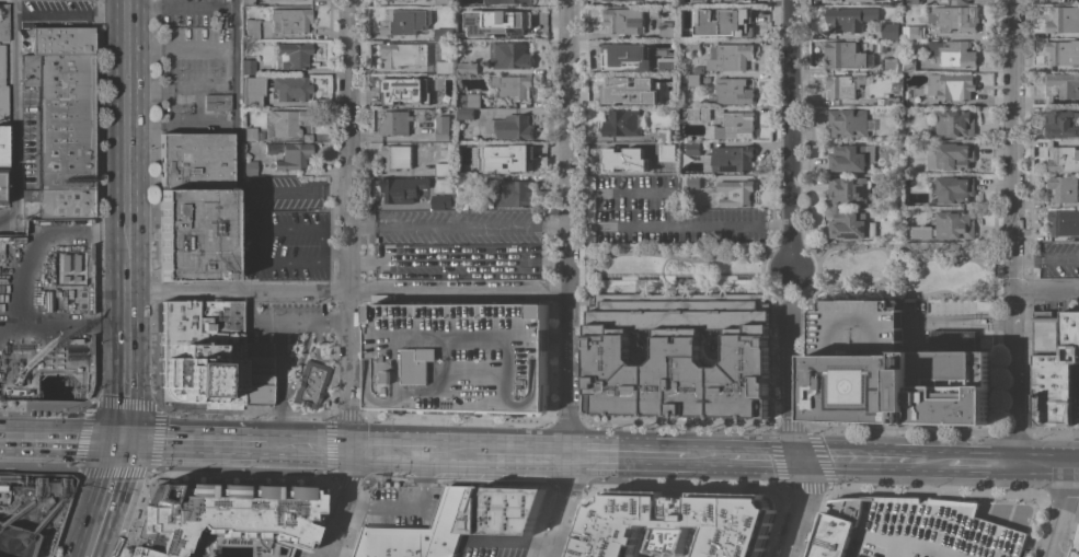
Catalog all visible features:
building: (2, 0)
building: (58, 0)
building: (297, 0)
building: (604, 0)
building: (697, 0)
building: (713, 0)
building: (744, 0)
building: (843, 0)
building: (872, 0)
building: (508, 1)
building: (914, 1)
building: (963, 1)
road: (234, 2)
building: (444, 2)
building: (666, 2)
building: (248, 3)
building: (695, 11)
building: (472, 12)
road: (70, 14)
building: (850, 18)
building: (955, 18)
building: (1064, 19)
building: (624, 20)
building: (290, 21)
building: (406, 21)
building: (4, 23)
building: (513, 24)
building: (732, 25)
building: (252, 30)
building: (668, 30)
building: (891, 30)
building: (912, 31)
building: (445, 33)
building: (61, 40)
building: (665, 45)
building: (689, 45)
building: (1064, 51)
building: (953, 53)
building: (405, 54)
building: (295, 55)
building: (513, 55)
building: (845, 55)
building: (624, 56)
building: (730, 56)
building: (667, 63)
building: (892, 63)
building: (2, 65)
building: (909, 65)
building: (249, 67)
building: (446, 67)
building: (468, 67)
road: (225, 68)
building: (699, 69)
building: (895, 77)
building: (693, 79)
building: (895, 83)
building: (514, 85)
building: (843, 85)
building: (952, 85)
building: (1063, 86)
building: (400, 88)
building: (292, 89)
building: (631, 90)
building: (735, 91)
building: (252, 92)
road: (236, 94)
building: (910, 97)
building: (440, 100)
building: (471, 100)
building: (893, 101)
building: (217, 103)
building: (3, 104)
building: (696, 113)
building: (467, 114)
building: (64, 119)
building: (395, 121)
building: (849, 121)
building: (290, 123)
building: (622, 123)
building: (954, 123)
building: (1063, 123)
building: (733, 125)
road: (182, 126)
building: (512, 126)
building: (444, 128)
road: (126, 131)
building: (250, 134)
building: (665, 135)
road: (790, 135)
road: (567, 144)
building: (3, 146)
building: (472, 146)
road: (347, 147)
building: (695, 148)
building: (667, 150)
building: (955, 154)
building: (290, 155)
building: (398, 155)
building: (622, 156)
building: (851, 156)
building: (733, 158)
building: (930, 158)
building: (1064, 158)
building: (510, 160)
building: (250, 167)
building: (443, 169)
building: (665, 169)
building: (479, 181)
building: (692, 182)
building: (2, 187)
building: (1064, 187)
building: (403, 188)
building: (955, 188)
road: (620, 189)
building: (850, 189)
road: (291, 190)
building: (737, 192)
building: (517, 194)
building: (443, 198)
road: (18, 199)
building: (64, 202)
building: (194, 208)
road: (9, 219)
building: (1064, 221)
road: (655, 222)
building: (852, 224)
road: (458, 225)
building: (949, 225)
road: (1011, 233)
road: (797, 237)
road: (321, 244)
building: (69, 270)
road: (789, 288)
road: (1045, 291)
road: (346, 292)
road: (960, 315)
road: (284, 321)
road: (124, 345)
building: (200, 355)
building: (460, 355)
building: (680, 355)
building: (1055, 365)
road: (348, 370)
road: (569, 372)
building: (256, 373)
building: (310, 384)
building: (903, 386)
helipad: (864, 388)
road: (61, 425)
traffic signals: (123, 426)
road: (187, 429)
road: (792, 433)
road: (285, 434)
road: (120, 440)
road: (334, 442)
traffic signals: (351, 448)
road: (412, 448)
road: (521, 452)
road: (59, 453)
traffic signals: (118, 454)
road: (335, 454)
road: (628, 455)
road: (219, 457)
road: (705, 457)
road: (762, 459)
traffic signals: (801, 460)
road: (849, 461)
road: (429, 462)
road: (919, 463)
road: (974, 465)
road: (1040, 466)
road: (1075, 467)
road: (343, 502)
road: (101, 506)
road: (564, 506)
road: (399, 510)
building: (505, 510)
road: (1071, 510)
road: (1061, 512)
building: (225, 514)
building: (676, 525)
building: (912, 530)
building: (422, 531)
building: (1076, 546)

